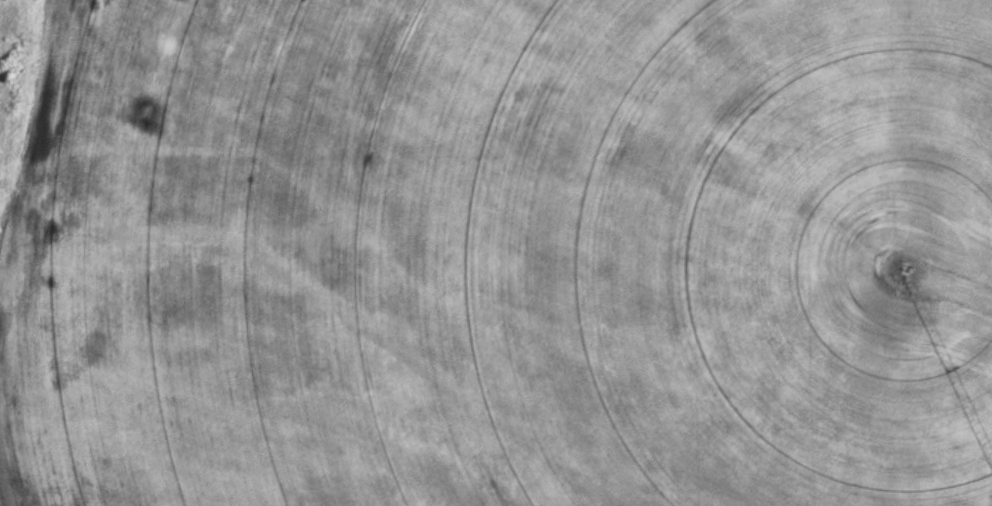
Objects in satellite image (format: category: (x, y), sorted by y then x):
wastewater plant: (496, 253)
crop: (500, 254)

